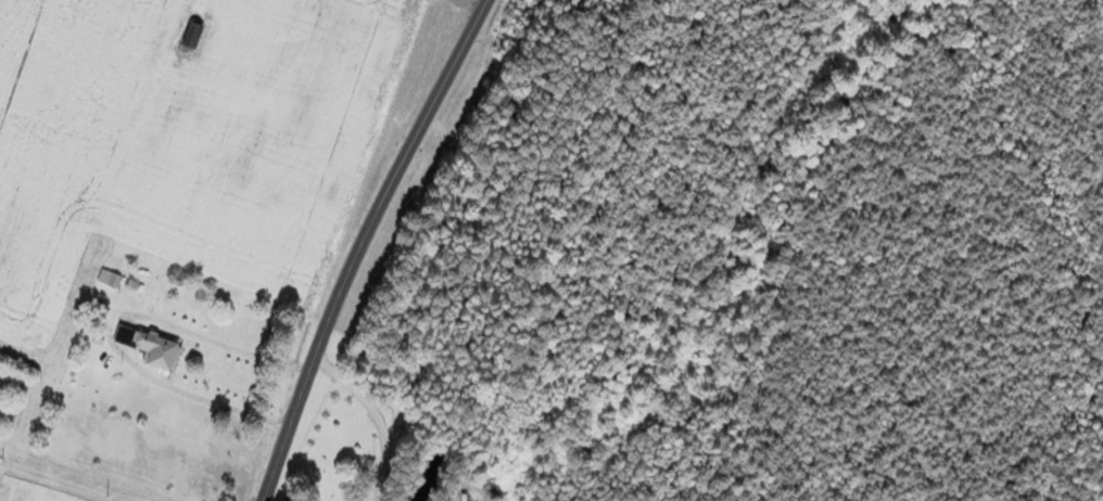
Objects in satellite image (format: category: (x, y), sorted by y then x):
road: (471, 3)
building: (192, 39)
road: (359, 244)
building: (152, 346)
road: (74, 476)

